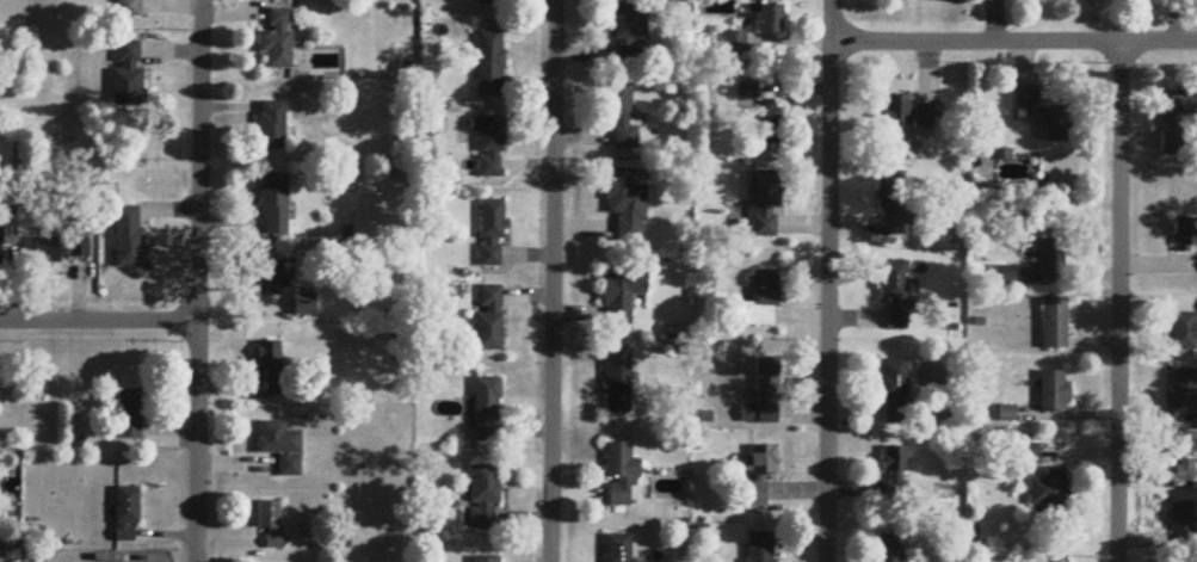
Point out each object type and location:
building: (490, 2)
building: (128, 8)
building: (769, 20)
building: (630, 35)
building: (277, 42)
road: (1013, 42)
building: (735, 43)
building: (490, 66)
building: (127, 75)
building: (622, 113)
building: (907, 115)
building: (1049, 118)
building: (767, 124)
building: (271, 126)
building: (1172, 126)
building: (490, 148)
building: (625, 203)
building: (894, 204)
building: (273, 205)
building: (763, 205)
building: (7, 231)
building: (492, 235)
building: (1185, 236)
building: (128, 239)
building: (60, 246)
building: (1054, 258)
building: (271, 277)
road: (196, 280)
road: (550, 280)
road: (828, 280)
building: (622, 291)
building: (895, 295)
road: (1118, 301)
building: (761, 302)
building: (489, 320)
road: (98, 322)
building: (1054, 325)
building: (1184, 333)
building: (271, 369)
building: (617, 383)
building: (1184, 388)
building: (895, 393)
building: (1054, 393)
building: (764, 397)
building: (486, 412)
building: (129, 416)
building: (280, 449)
building: (1028, 456)
building: (1184, 457)
building: (896, 474)
building: (622, 476)
building: (758, 477)
building: (1049, 490)
building: (483, 500)
building: (125, 517)
building: (270, 524)
building: (1181, 526)
building: (759, 548)
building: (618, 549)
building: (890, 549)
building: (485, 560)

